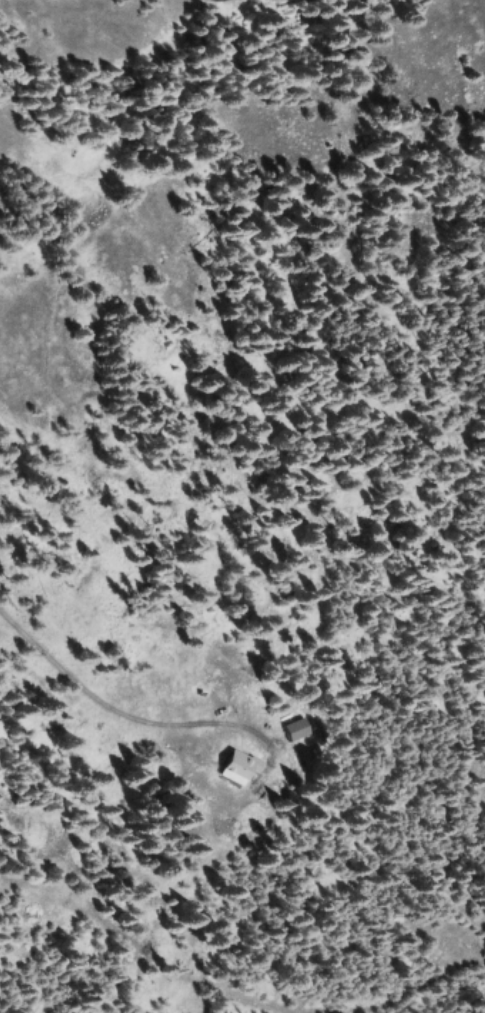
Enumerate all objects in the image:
road: (14, 22)
building: (300, 726)
building: (238, 766)

